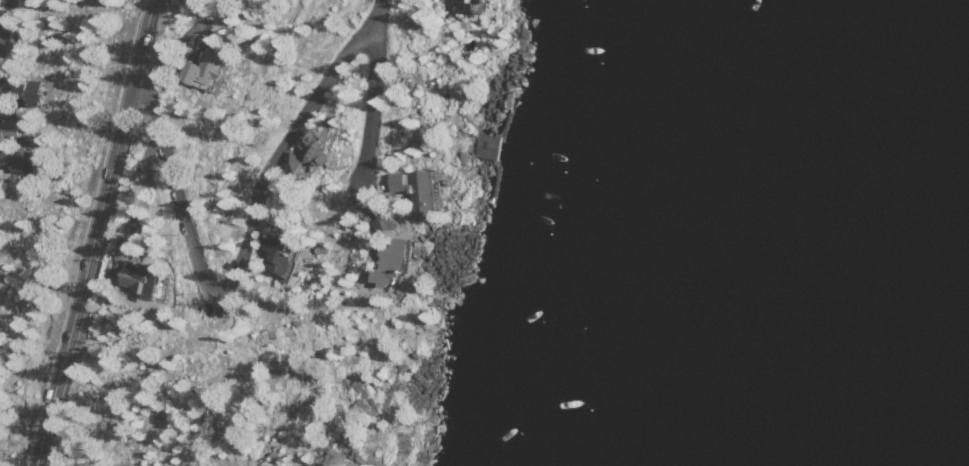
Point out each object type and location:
building: (480, 0)
road: (6, 27)
building: (212, 67)
building: (37, 92)
road: (367, 94)
pier: (503, 125)
building: (15, 127)
building: (20, 157)
building: (294, 161)
pier: (493, 172)
building: (422, 190)
road: (94, 234)
building: (289, 248)
building: (392, 253)
road: (219, 281)

